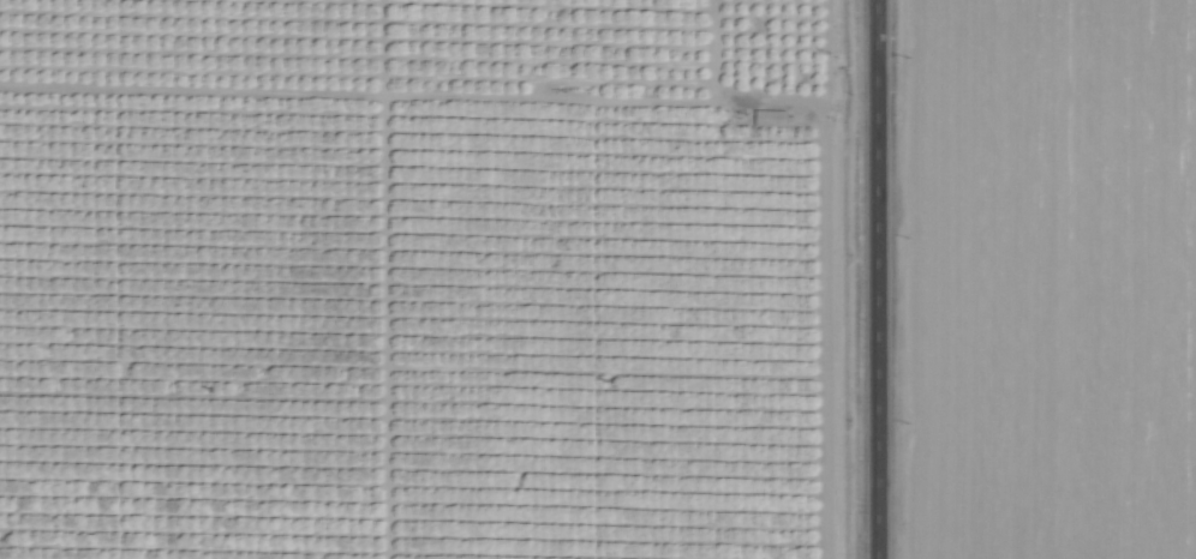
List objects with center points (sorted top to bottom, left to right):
building: (771, 118)
crop: (598, 279)
road: (877, 279)

